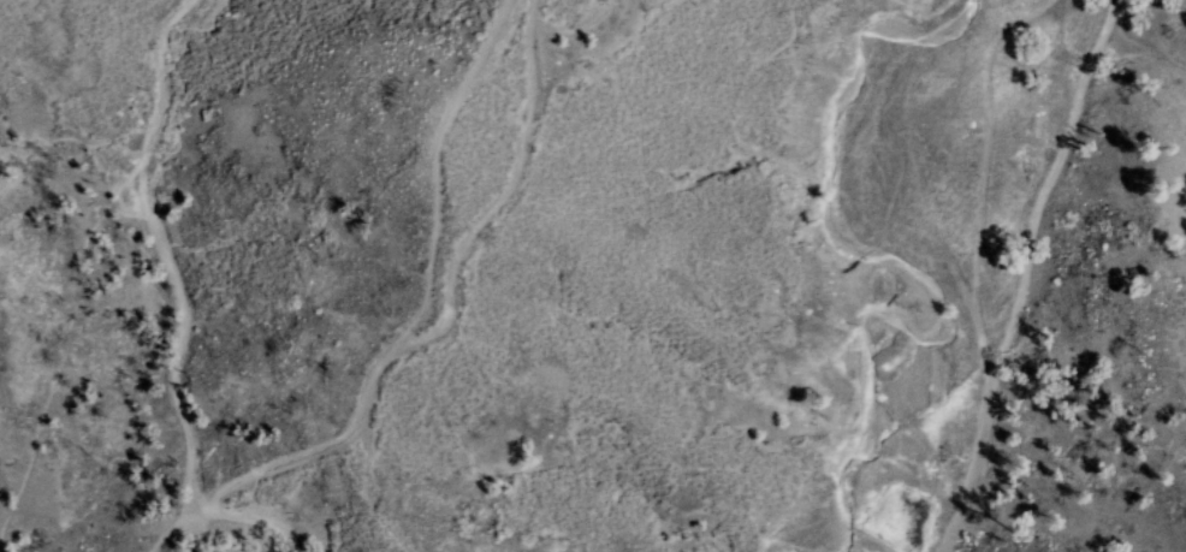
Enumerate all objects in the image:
road: (1027, 275)

